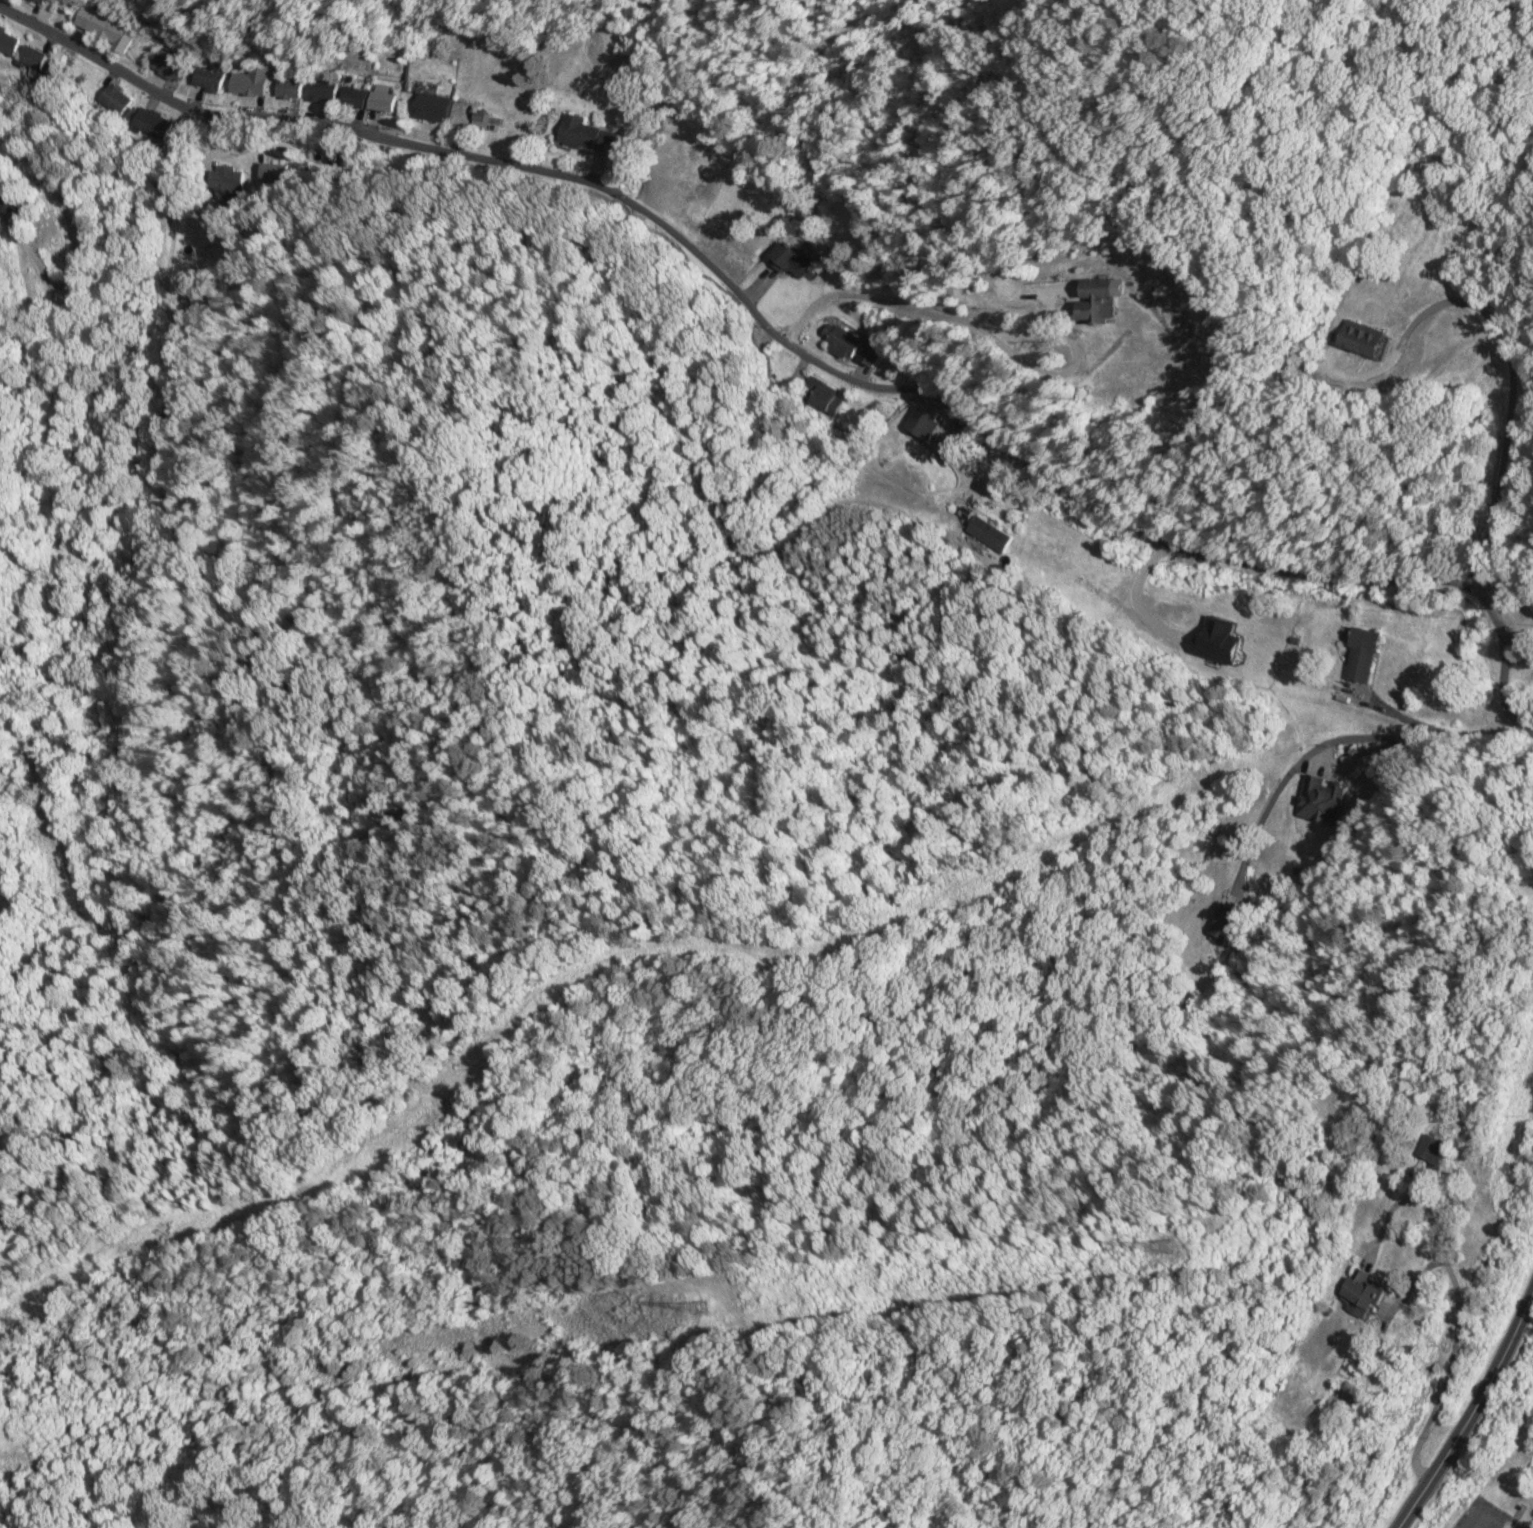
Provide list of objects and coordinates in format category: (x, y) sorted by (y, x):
building: (40, 1)
road: (22, 19)
building: (106, 27)
building: (7, 41)
building: (31, 57)
building: (168, 64)
building: (207, 74)
building: (247, 81)
building: (287, 87)
building: (319, 90)
building: (352, 97)
building: (117, 99)
building: (381, 101)
building: (431, 108)
building: (153, 123)
building: (585, 134)
building: (230, 180)
building: (7, 207)
road: (56, 245)
building: (790, 259)
building: (1095, 301)
road: (963, 322)
building: (1360, 338)
road: (1502, 338)
building: (842, 342)
building: (871, 353)
road: (822, 366)
building: (823, 396)
building: (953, 459)
building: (989, 535)
building: (1218, 627)
building: (1363, 655)
building: (1322, 801)
building: (1223, 924)
building: (1432, 1150)
power tower: (1165, 1249)
building: (1362, 1294)
power tower: (699, 1300)
road: (1469, 1409)
road: (832, 1412)

